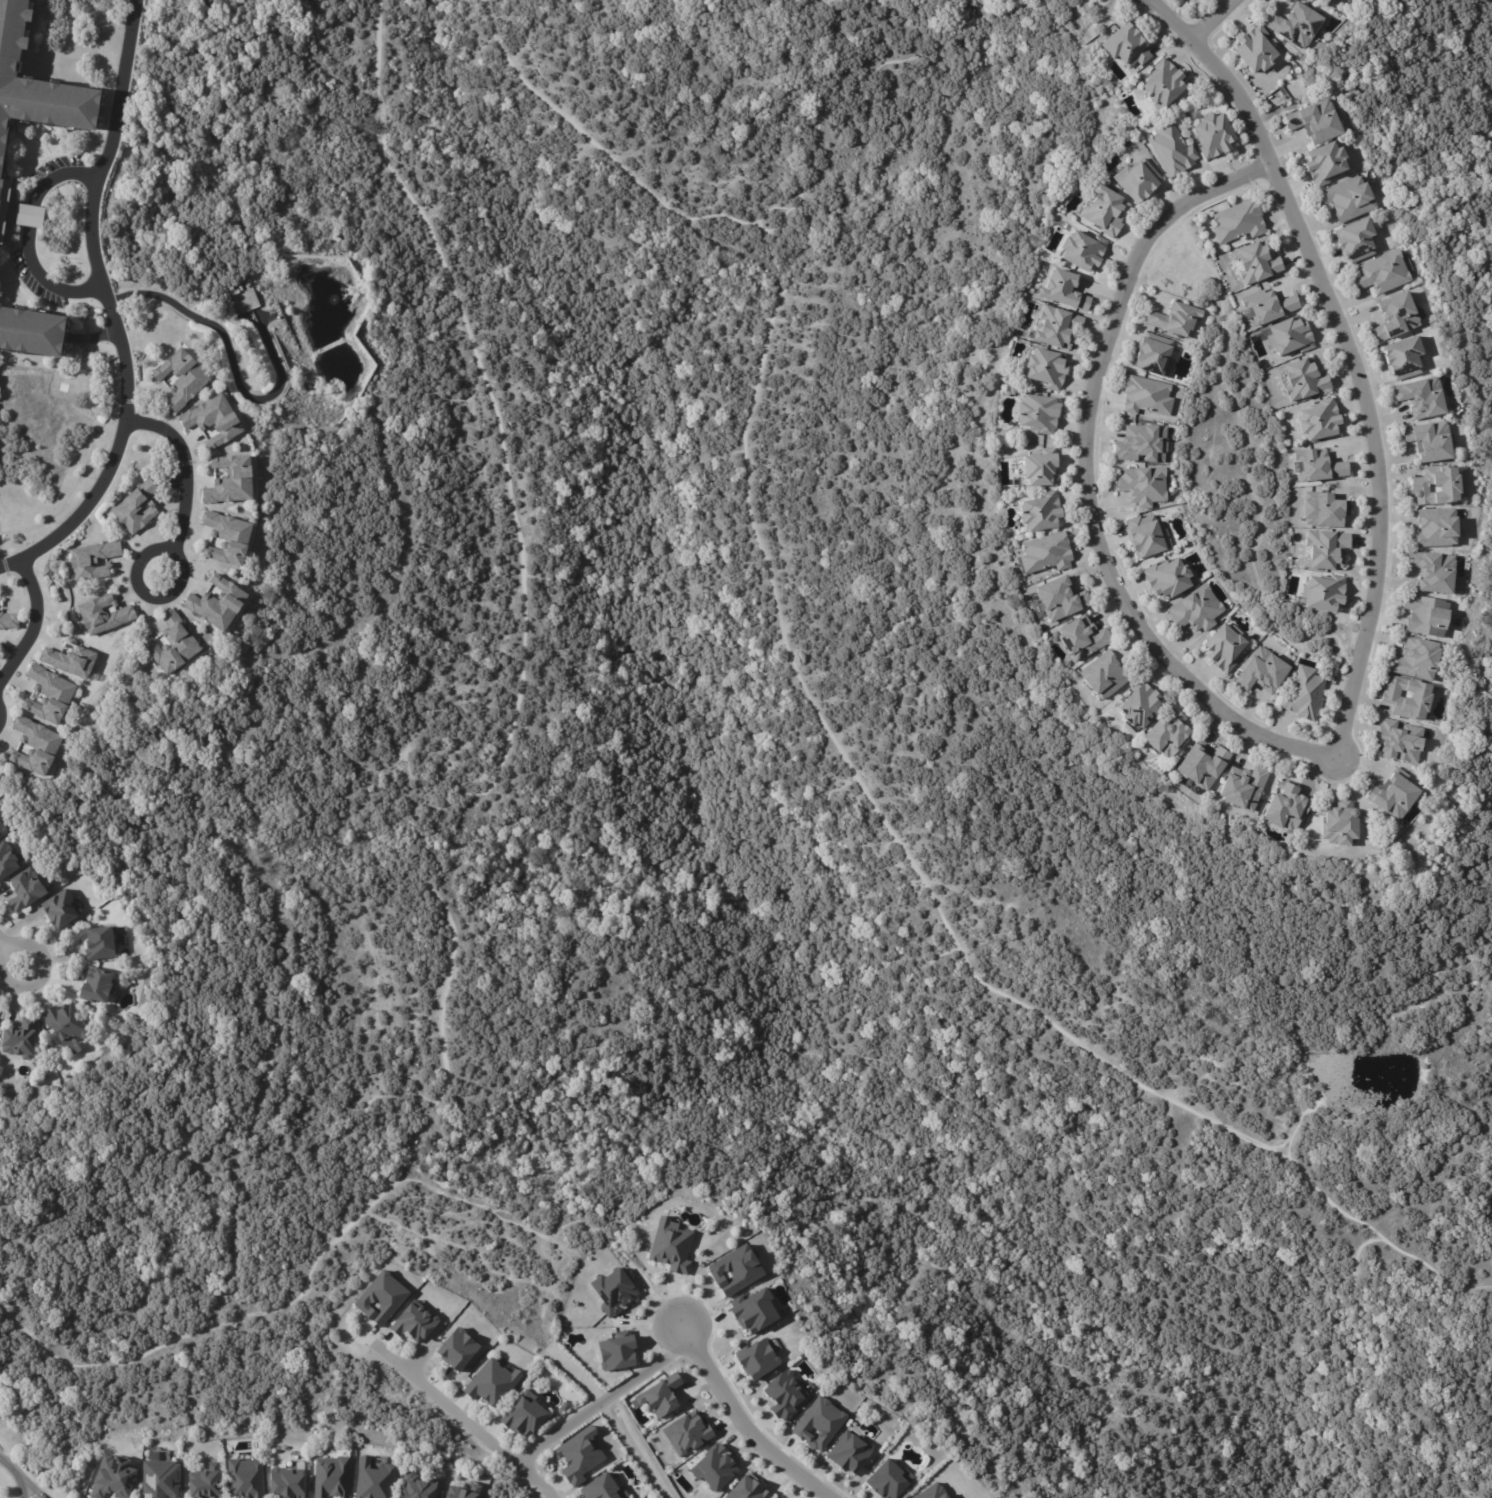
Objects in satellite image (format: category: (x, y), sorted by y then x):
road: (1209, 19)
building: (1294, 23)
building: (1124, 45)
building: (1253, 48)
road: (1228, 74)
building: (1160, 82)
building: (1277, 97)
building: (27, 114)
building: (1315, 123)
building: (1211, 134)
building: (1170, 148)
building: (1325, 164)
road: (59, 172)
building: (1136, 179)
building: (1347, 200)
building: (1104, 212)
road: (30, 213)
building: (1238, 222)
building: (1355, 241)
building: (1082, 251)
building: (1256, 262)
building: (1382, 274)
road: (44, 280)
building: (232, 288)
building: (1063, 289)
building: (1268, 307)
road: (109, 309)
building: (1396, 318)
building: (1176, 320)
building: (29, 324)
building: (1057, 328)
building: (1290, 338)
building: (1154, 356)
building: (1402, 359)
road: (231, 360)
building: (1048, 369)
building: (185, 379)
building: (1302, 381)
building: (1146, 397)
building: (1422, 399)
building: (1039, 414)
building: (220, 422)
building: (1319, 422)
building: (1430, 441)
building: (1142, 445)
building: (1319, 467)
building: (1040, 468)
building: (236, 482)
building: (1143, 486)
building: (1437, 486)
building: (138, 509)
building: (1323, 511)
building: (1042, 513)
building: (1435, 530)
building: (1146, 538)
building: (234, 540)
road: (175, 542)
building: (1326, 552)
building: (1047, 553)
building: (94, 561)
building: (1433, 574)
building: (1167, 579)
building: (1324, 594)
building: (1059, 600)
road: (1128, 602)
building: (225, 605)
building: (1196, 612)
building: (106, 615)
building: (1425, 616)
building: (10, 621)
road: (33, 623)
building: (1081, 640)
building: (191, 643)
building: (1, 647)
building: (1224, 651)
building: (1413, 660)
building: (74, 662)
building: (1262, 674)
building: (1105, 678)
building: (1303, 695)
building: (52, 696)
building: (1407, 698)
building: (1140, 708)
building: (1168, 737)
building: (1400, 742)
building: (39, 749)
building: (1203, 767)
building: (1243, 791)
building: (1395, 799)
building: (1286, 808)
building: (3, 826)
building: (1341, 827)
building: (11, 862)
building: (30, 890)
building: (64, 910)
building: (102, 943)
road: (1, 947)
road: (41, 964)
building: (100, 984)
building: (67, 1025)
building: (24, 1040)
building: (1309, 1079)
building: (670, 1245)
building: (734, 1270)
building: (612, 1289)
building: (381, 1296)
building: (753, 1310)
building: (414, 1321)
road: (225, 1323)
road: (688, 1336)
building: (457, 1348)
building: (616, 1351)
building: (756, 1359)
building: (491, 1382)
building: (783, 1394)
building: (660, 1395)
building: (564, 1404)
road: (459, 1415)
building: (524, 1415)
building: (818, 1423)
building: (686, 1433)
building: (848, 1452)
building: (579, 1455)
building: (715, 1467)
road: (17, 1475)
building: (112, 1477)
building: (331, 1477)
building: (161, 1478)
building: (245, 1478)
building: (374, 1480)
building: (887, 1480)
building: (205, 1481)
building: (285, 1483)
building: (417, 1486)
road: (30, 1488)
building: (602, 1488)
building: (748, 1488)
building: (461, 1491)
building: (930, 1491)
building: (775, 1497)

